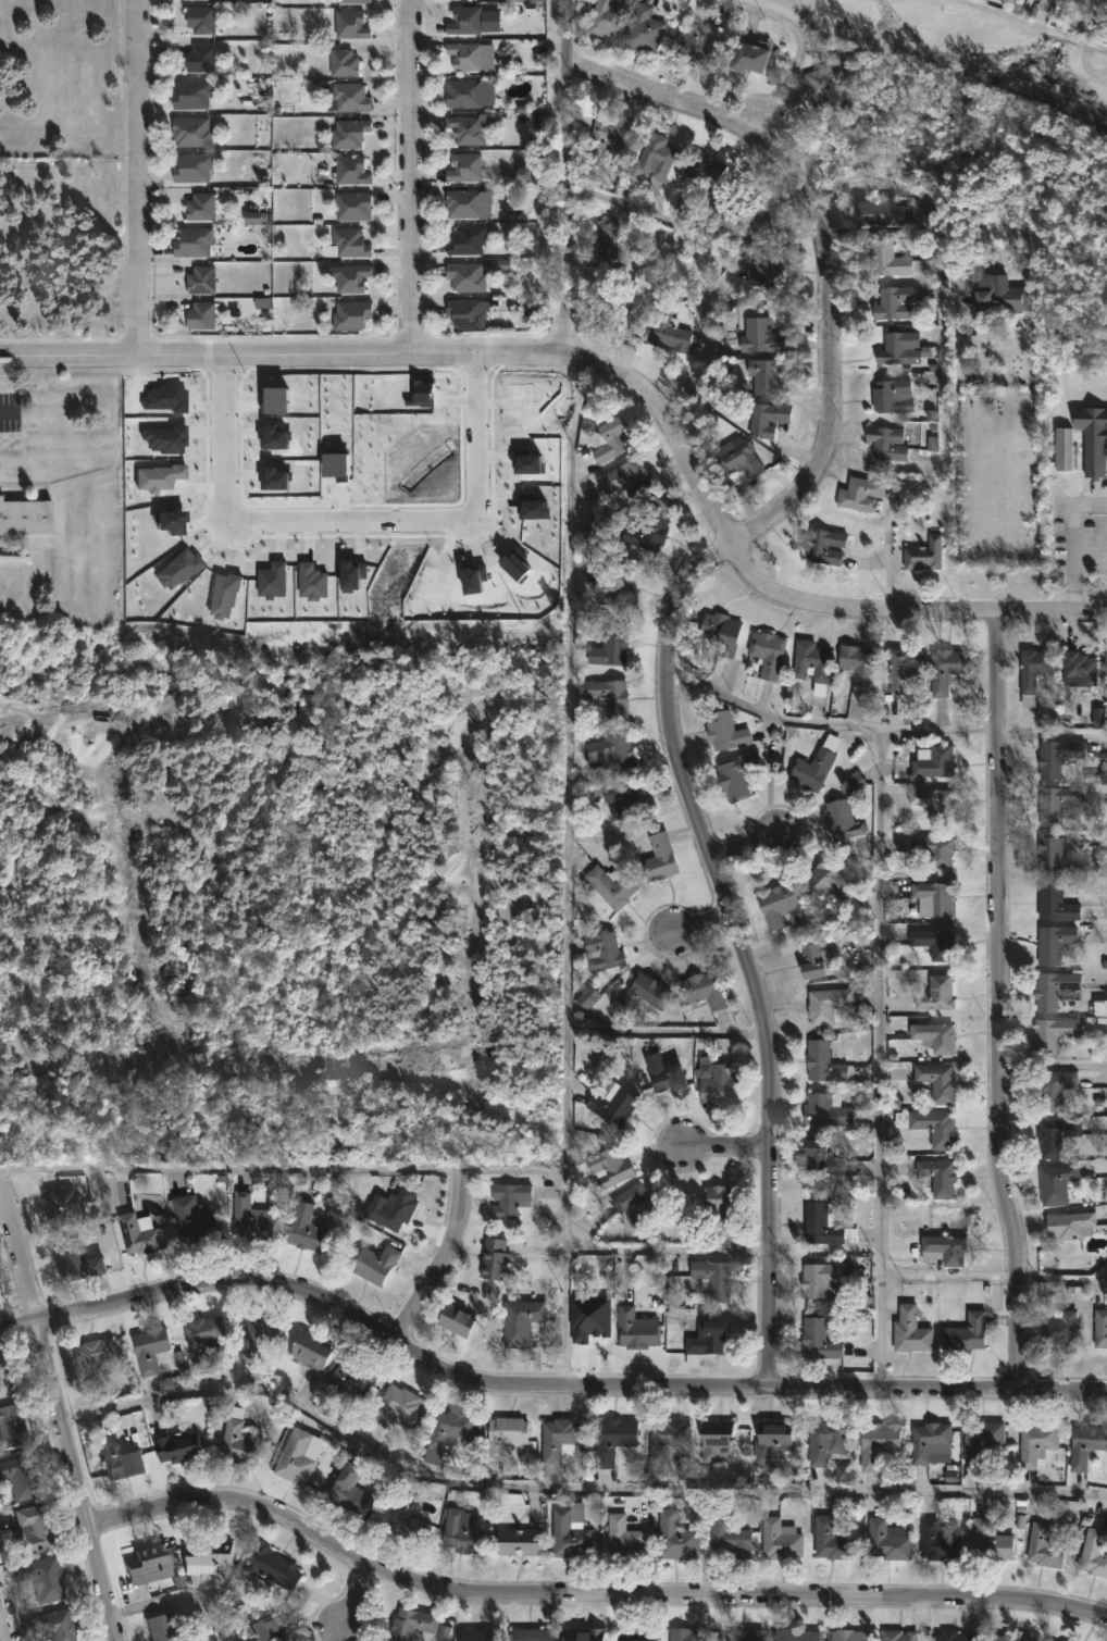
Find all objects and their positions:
building: (351, 1)
building: (1046, 3)
building: (606, 16)
building: (204, 18)
building: (464, 20)
power tower: (883, 23)
building: (349, 25)
road: (1030, 25)
building: (643, 29)
building: (699, 46)
road: (798, 50)
building: (463, 53)
building: (204, 58)
building: (747, 58)
building: (341, 62)
building: (828, 86)
building: (462, 92)
building: (196, 94)
building: (348, 97)
building: (464, 129)
building: (195, 130)
building: (347, 133)
building: (610, 133)
building: (655, 160)
building: (463, 166)
building: (197, 167)
building: (702, 169)
building: (350, 170)
road: (411, 176)
road: (565, 176)
road: (135, 177)
building: (464, 202)
building: (203, 206)
building: (352, 206)
building: (882, 213)
building: (252, 216)
building: (764, 231)
building: (465, 240)
building: (608, 241)
road: (826, 241)
building: (199, 243)
building: (348, 243)
building: (885, 259)
building: (769, 265)
building: (464, 275)
building: (350, 278)
building: (204, 279)
building: (998, 298)
building: (892, 302)
building: (465, 312)
building: (349, 314)
building: (206, 315)
building: (669, 333)
building: (759, 336)
building: (898, 349)
road: (944, 352)
road: (284, 353)
building: (764, 375)
building: (423, 393)
building: (892, 396)
building: (276, 400)
road: (9, 411)
building: (766, 419)
building: (609, 437)
building: (276, 438)
building: (1092, 438)
building: (166, 440)
building: (886, 443)
building: (1064, 448)
building: (735, 459)
building: (531, 463)
building: (337, 464)
building: (627, 476)
building: (159, 477)
building: (277, 478)
road: (960, 478)
building: (858, 493)
building: (535, 509)
building: (25, 517)
building: (172, 522)
road: (350, 522)
building: (647, 530)
road: (1072, 537)
building: (824, 544)
building: (923, 554)
building: (178, 570)
building: (353, 574)
building: (273, 580)
building: (313, 581)
building: (614, 583)
road: (775, 595)
building: (224, 596)
building: (721, 632)
building: (610, 646)
building: (767, 652)
building: (811, 660)
building: (856, 663)
building: (903, 667)
building: (1079, 667)
building: (945, 668)
building: (1032, 672)
building: (609, 698)
building: (1098, 717)
road: (824, 722)
building: (725, 730)
road: (1052, 733)
building: (611, 749)
building: (1057, 756)
building: (933, 760)
building: (814, 763)
building: (736, 774)
building: (854, 784)
building: (623, 798)
building: (933, 801)
building: (1056, 804)
building: (844, 823)
road: (743, 844)
building: (929, 848)
building: (1049, 853)
building: (658, 857)
road: (565, 869)
building: (830, 880)
building: (610, 885)
building: (932, 898)
building: (1055, 902)
building: (776, 904)
road: (697, 918)
building: (1053, 942)
building: (935, 943)
road: (739, 946)
building: (601, 950)
building: (817, 957)
building: (1055, 989)
building: (702, 990)
building: (639, 994)
building: (935, 994)
building: (587, 997)
road: (997, 1000)
building: (828, 1004)
road: (667, 1031)
building: (1052, 1032)
building: (933, 1035)
road: (880, 1057)
building: (823, 1061)
road: (1053, 1064)
building: (662, 1072)
building: (937, 1081)
building: (718, 1086)
building: (1055, 1089)
building: (611, 1103)
building: (826, 1110)
building: (937, 1127)
building: (1055, 1135)
road: (727, 1147)
building: (820, 1157)
building: (604, 1168)
road: (283, 1172)
building: (937, 1177)
building: (1056, 1183)
building: (508, 1199)
building: (64, 1202)
building: (637, 1203)
building: (721, 1206)
building: (389, 1208)
building: (252, 1217)
building: (197, 1221)
building: (824, 1224)
building: (1070, 1226)
building: (303, 1228)
building: (142, 1234)
road: (668, 1250)
building: (943, 1250)
building: (493, 1258)
road: (443, 1261)
building: (82, 1264)
building: (374, 1264)
road: (947, 1276)
building: (822, 1278)
road: (1061, 1278)
building: (711, 1279)
building: (856, 1303)
building: (457, 1318)
building: (589, 1318)
building: (521, 1321)
building: (635, 1329)
building: (1059, 1329)
building: (1100, 1329)
building: (909, 1332)
building: (965, 1333)
building: (203, 1335)
building: (254, 1338)
building: (818, 1339)
building: (704, 1341)
building: (153, 1348)
building: (310, 1350)
building: (97, 1356)
building: (347, 1377)
building: (8, 1378)
road: (536, 1389)
building: (396, 1405)
road: (58, 1406)
building: (448, 1425)
building: (14, 1427)
building: (502, 1433)
building: (667, 1437)
building: (241, 1438)
building: (928, 1438)
building: (981, 1438)
building: (610, 1439)
building: (716, 1439)
building: (769, 1439)
building: (825, 1440)
building: (1036, 1440)
building: (878, 1441)
building: (557, 1442)
building: (1085, 1442)
building: (183, 1445)
building: (295, 1453)
building: (126, 1459)
building: (844, 1472)
building: (21, 1476)
road: (570, 1485)
building: (348, 1489)
building: (384, 1493)
building: (407, 1520)
building: (33, 1530)
building: (461, 1530)
building: (569, 1530)
building: (622, 1534)
building: (675, 1536)
building: (729, 1536)
building: (780, 1538)
building: (831, 1539)
building: (937, 1539)
building: (518, 1540)
building: (886, 1540)
building: (991, 1540)
building: (1044, 1545)
building: (1093, 1553)
building: (208, 1555)
building: (147, 1562)
building: (269, 1566)
building: (45, 1578)
road: (586, 1594)
road: (352, 1598)
road: (178, 1600)
building: (409, 1623)
road: (4, 1624)
building: (165, 1624)
building: (52, 1625)
building: (265, 1628)
building: (444, 1632)
building: (531, 1633)
building: (584, 1633)
building: (686, 1633)
building: (745, 1633)
building: (797, 1633)
building: (477, 1634)
building: (639, 1634)
building: (848, 1634)
building: (898, 1634)
building: (955, 1636)
building: (1009, 1637)
building: (1062, 1640)

